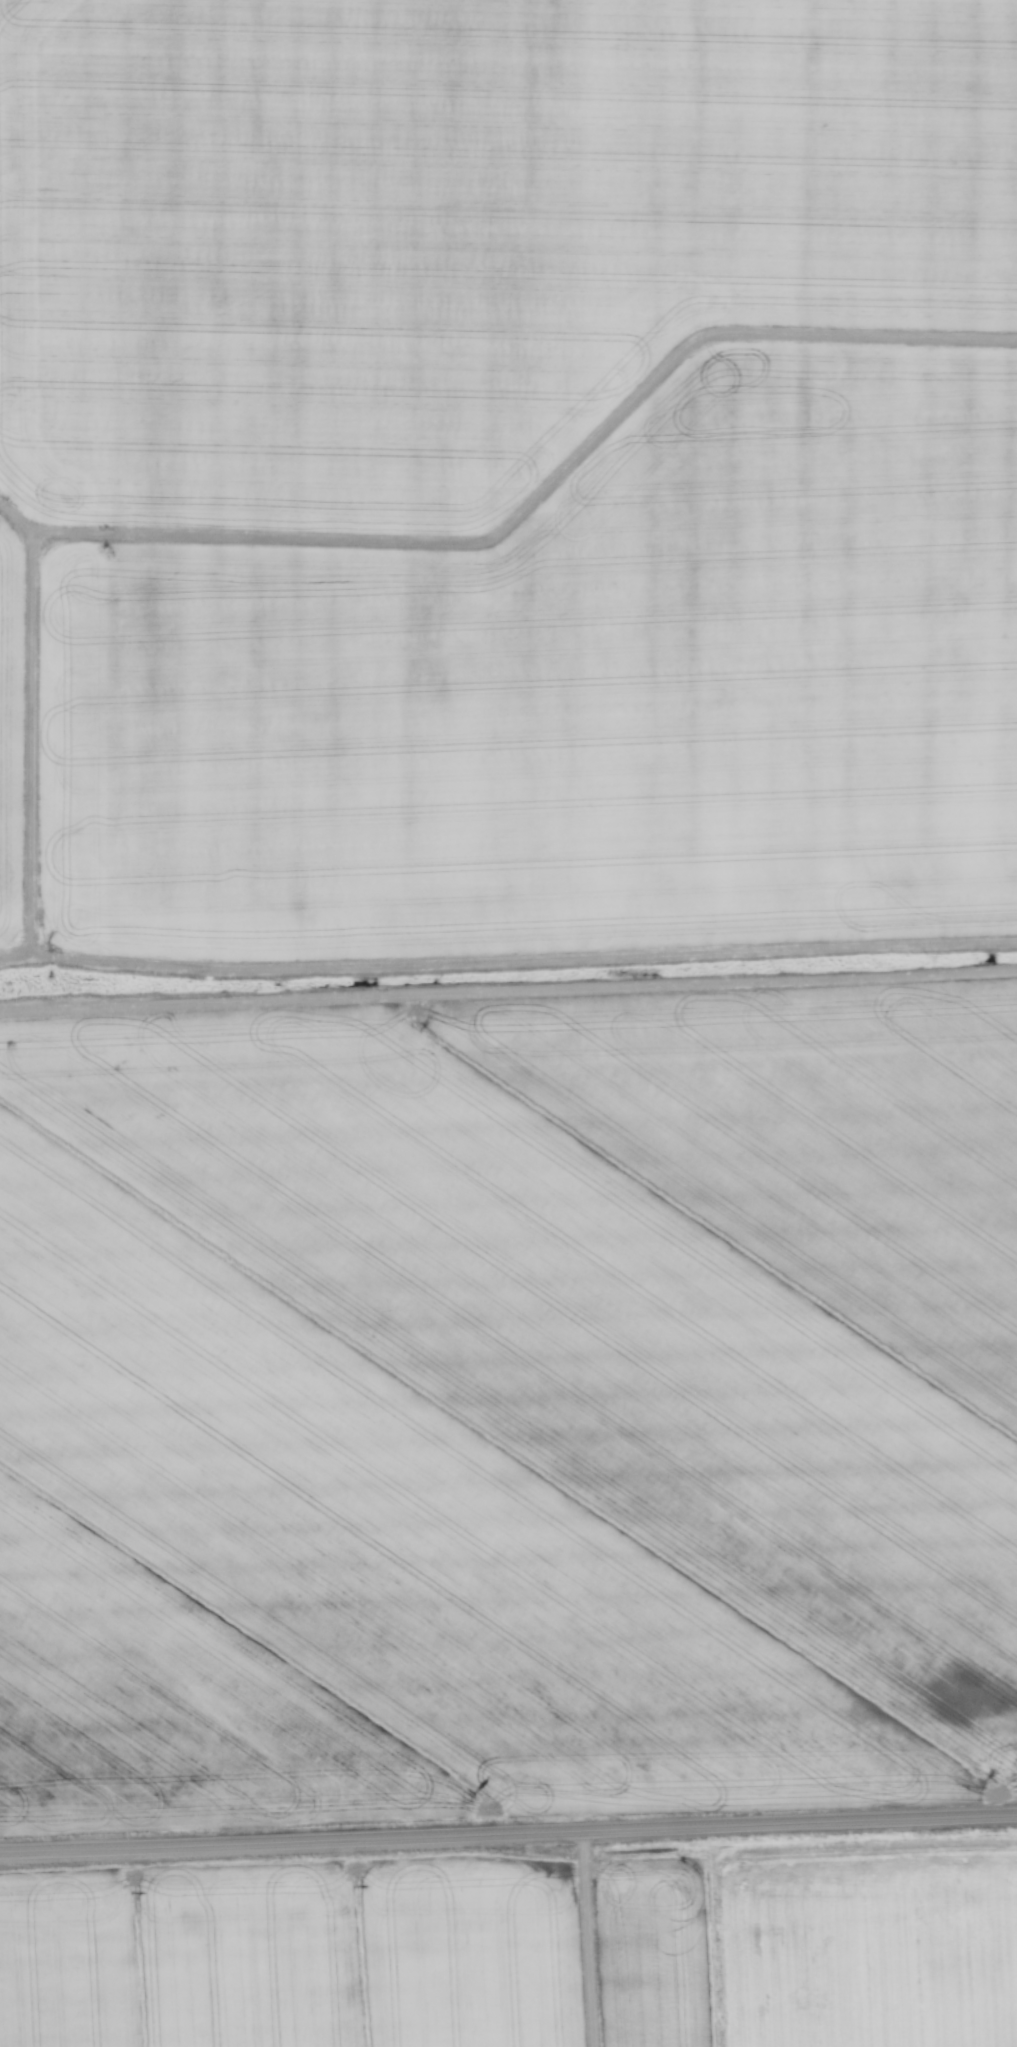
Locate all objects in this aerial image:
road: (508, 1833)

